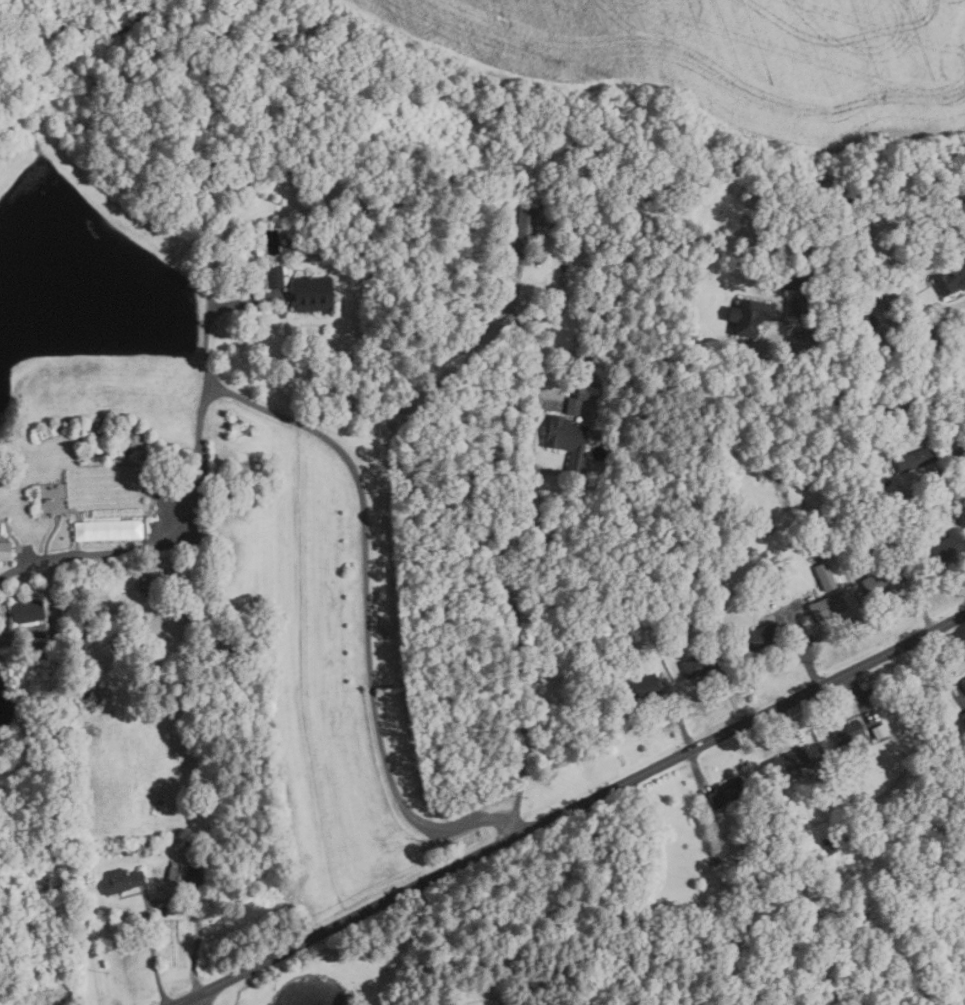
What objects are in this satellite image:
building: (519, 238)
building: (792, 251)
building: (791, 277)
building: (276, 278)
building: (953, 280)
building: (314, 294)
building: (752, 317)
building: (860, 317)
building: (821, 333)
road: (937, 347)
building: (582, 399)
road: (885, 404)
building: (889, 433)
building: (568, 440)
building: (918, 459)
building: (764, 524)
building: (868, 526)
building: (0, 529)
building: (117, 530)
road: (161, 543)
building: (947, 546)
building: (6, 551)
road: (366, 559)
building: (687, 573)
building: (827, 577)
building: (884, 577)
building: (161, 586)
road: (917, 595)
building: (615, 604)
building: (829, 607)
building: (28, 612)
road: (516, 616)
building: (626, 632)
building: (764, 636)
building: (43, 643)
building: (87, 643)
road: (807, 653)
building: (704, 663)
road: (947, 668)
building: (964, 680)
building: (642, 686)
building: (923, 695)
road: (861, 696)
road: (732, 699)
building: (875, 702)
road: (678, 713)
building: (963, 716)
road: (787, 723)
building: (881, 730)
building: (849, 732)
building: (788, 762)
building: (825, 763)
road: (699, 776)
building: (830, 788)
building: (851, 789)
building: (730, 792)
road: (572, 808)
building: (768, 819)
building: (832, 842)
building: (148, 848)
building: (715, 861)
building: (742, 869)
building: (194, 871)
building: (173, 874)
building: (124, 880)
road: (164, 900)
road: (196, 1002)

